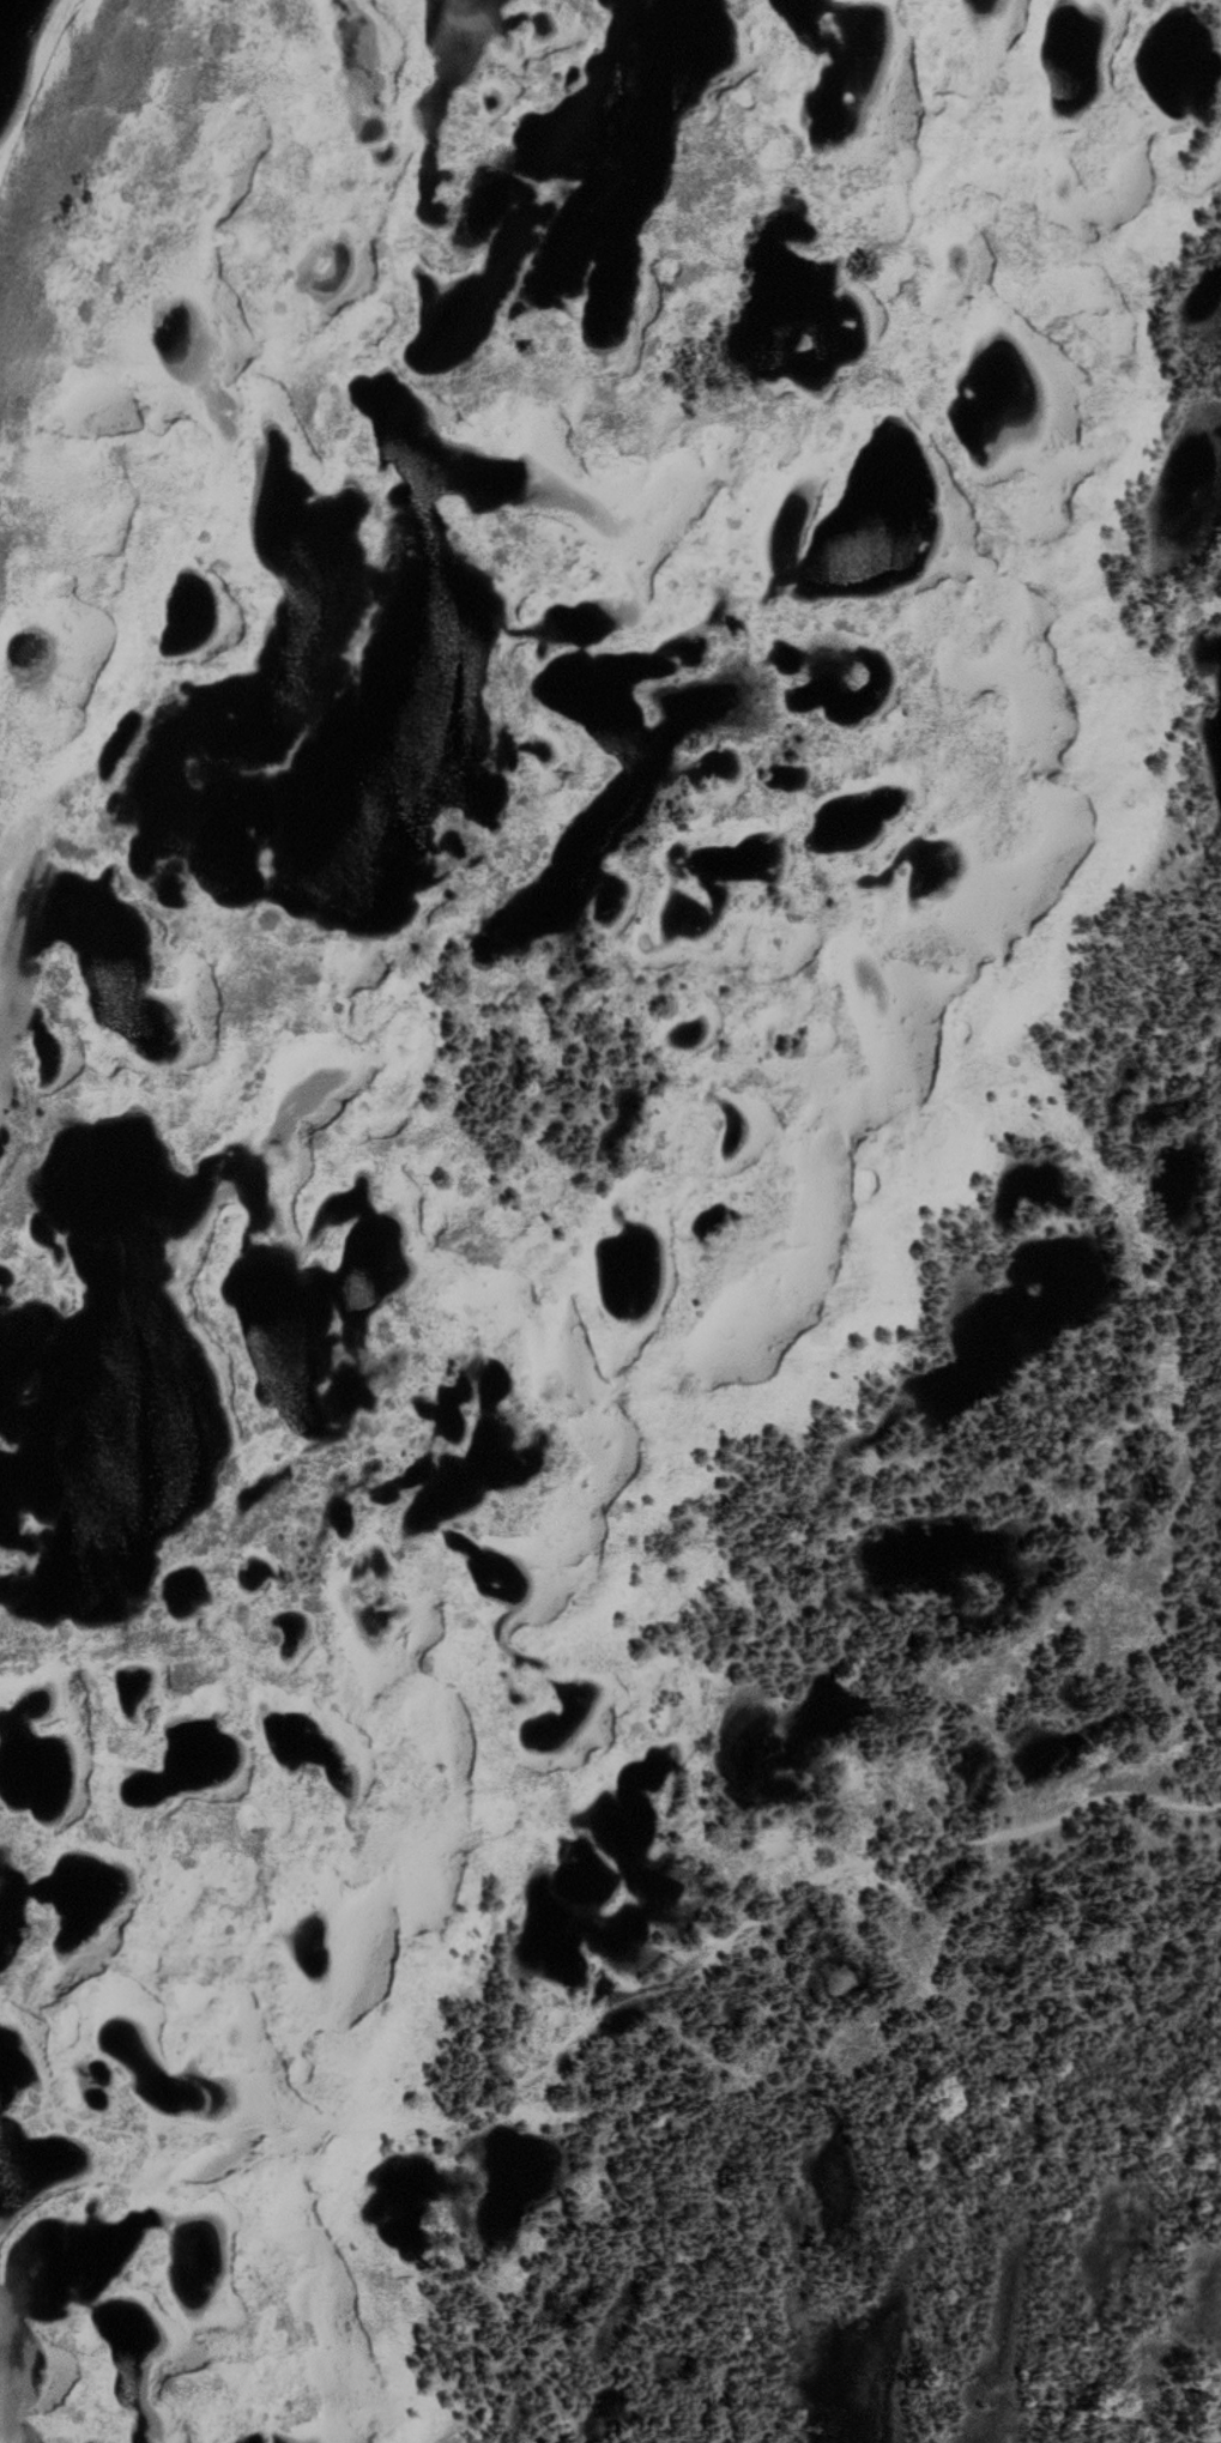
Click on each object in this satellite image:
park: (610, 1221)
road: (582, 2031)

